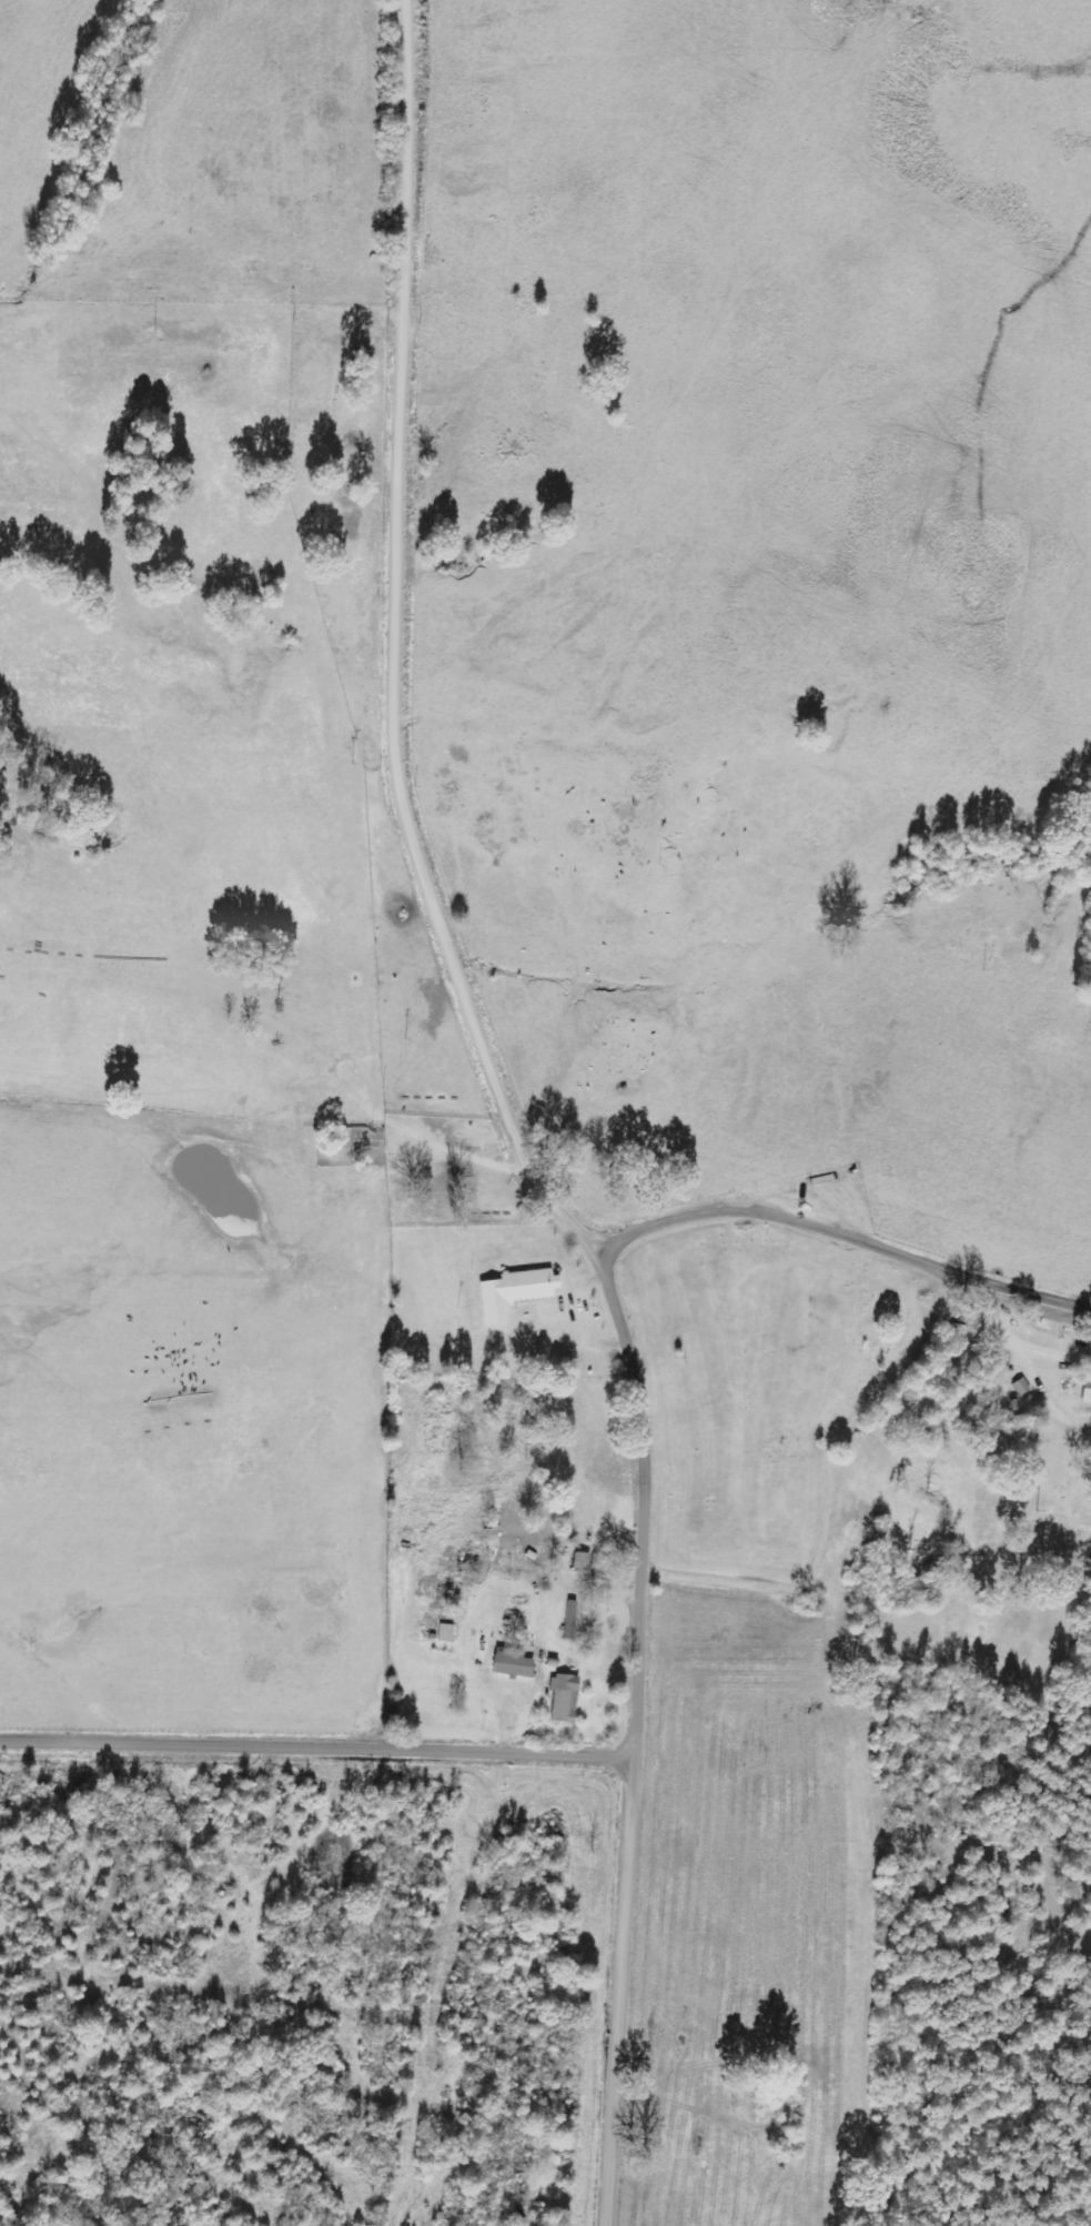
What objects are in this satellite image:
road: (204, 305)
road: (517, 1120)
road: (325, 1126)
road: (444, 1155)
road: (845, 1232)
building: (513, 1292)
building: (1021, 1387)
park: (758, 1390)
building: (1085, 1390)
building: (580, 1561)
building: (511, 1662)
building: (564, 1698)
road: (321, 1746)

